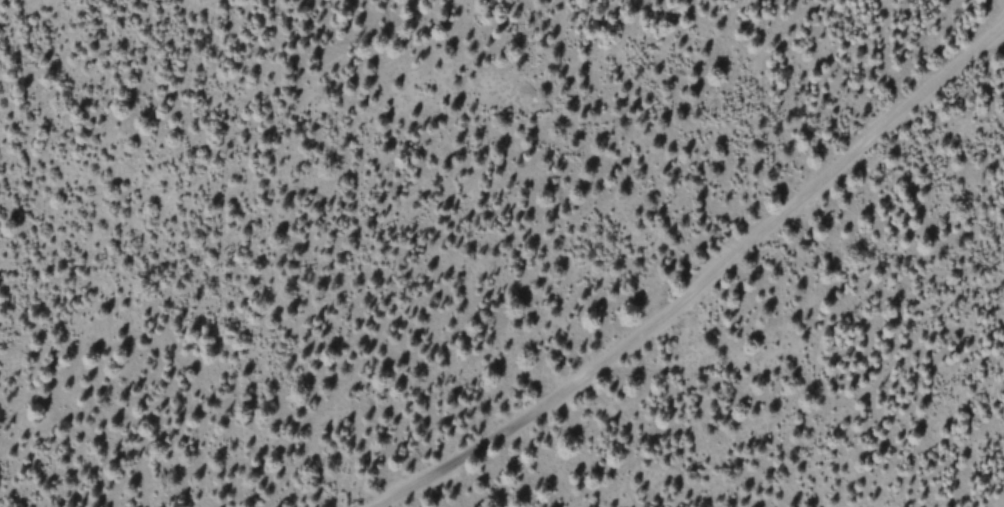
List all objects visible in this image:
road: (702, 285)

